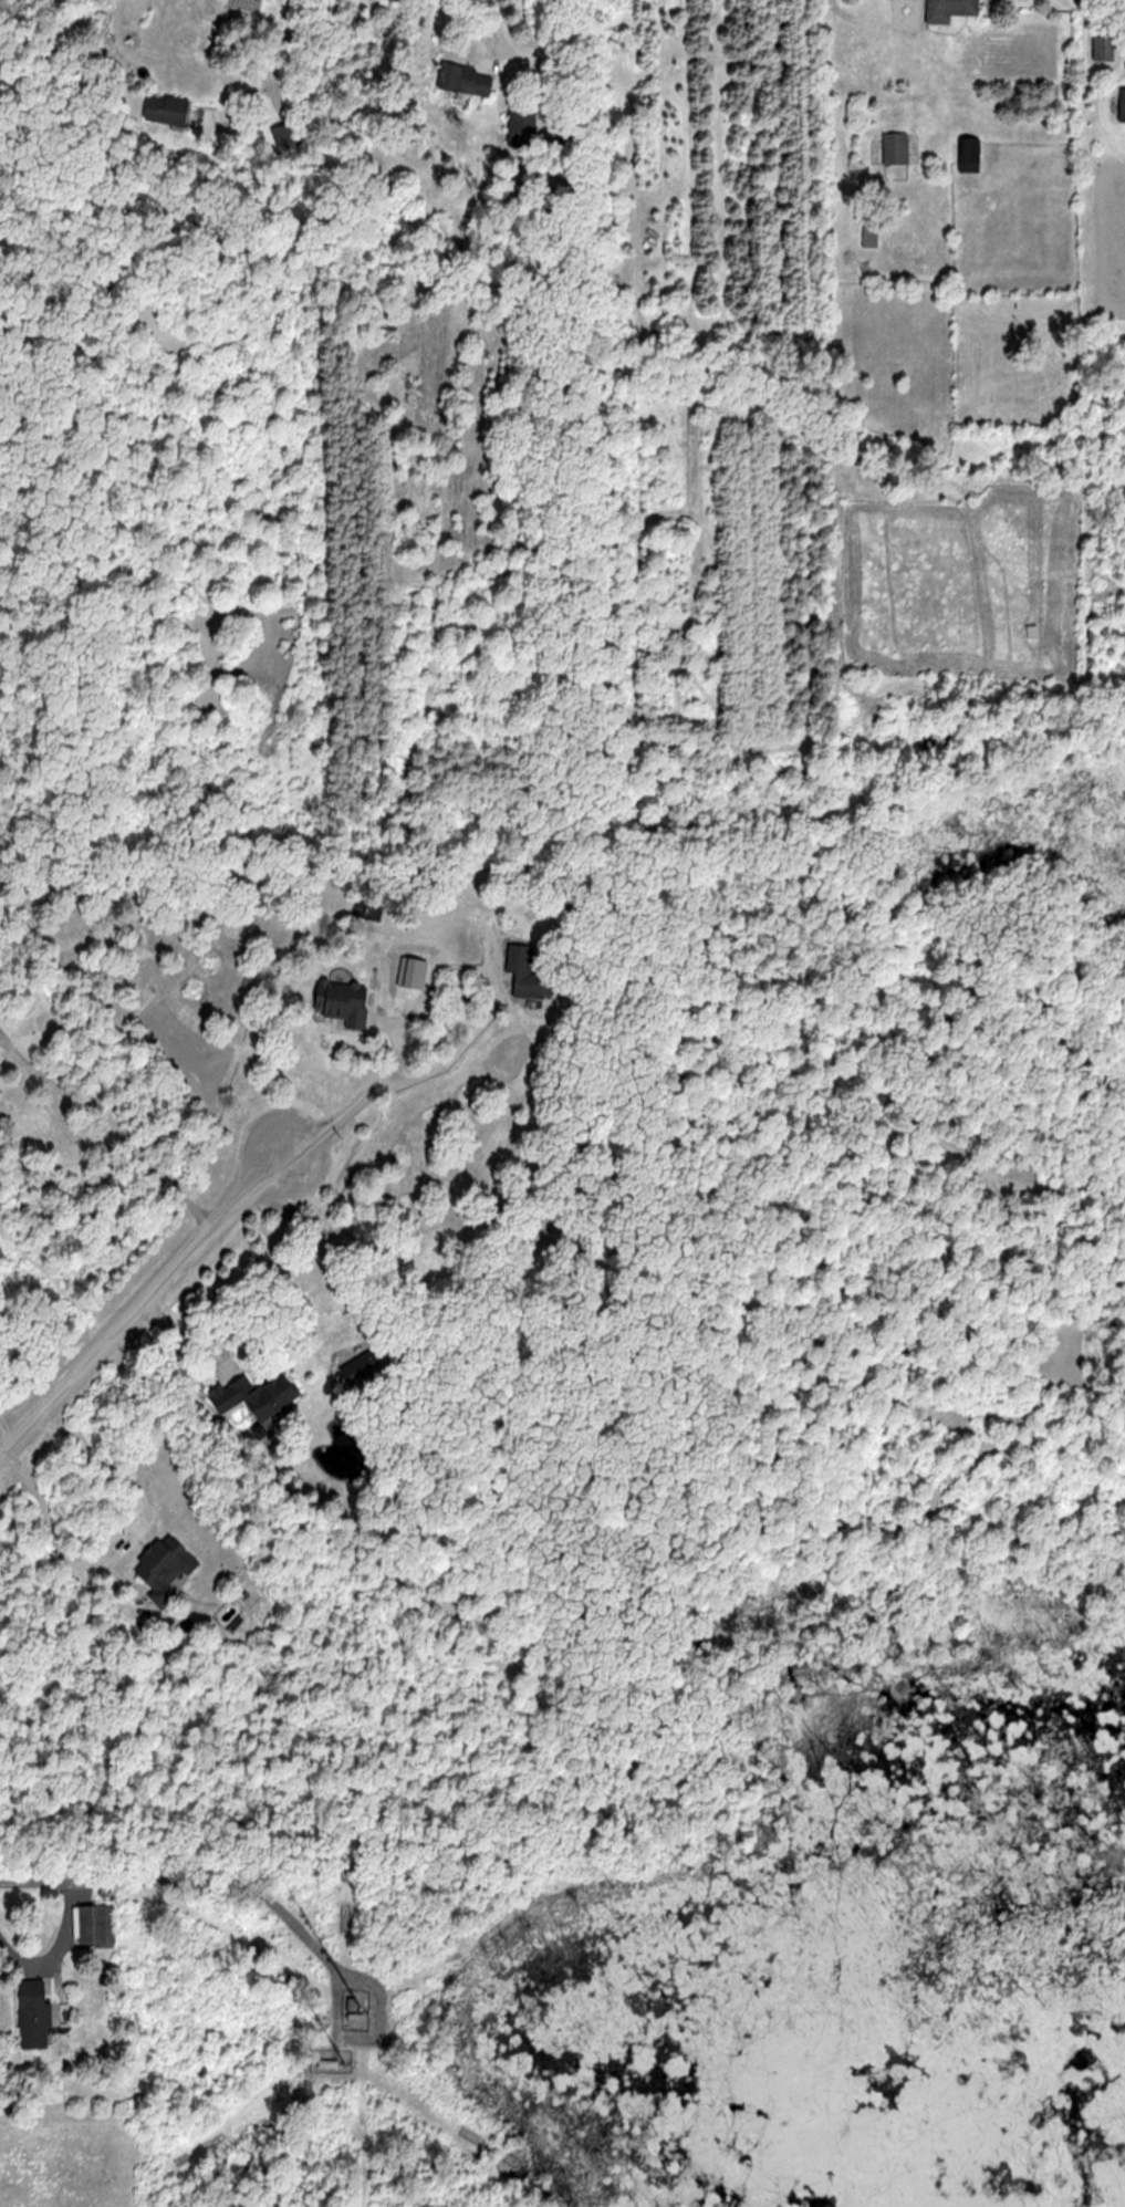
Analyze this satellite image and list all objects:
building: (948, 10)
road: (497, 23)
building: (1104, 46)
road: (271, 61)
building: (465, 79)
building: (1122, 105)
building: (165, 110)
building: (521, 126)
building: (283, 140)
building: (894, 148)
building: (968, 154)
building: (868, 229)
building: (524, 971)
building: (342, 1000)
road: (355, 1100)
road: (111, 1124)
road: (143, 1298)
building: (360, 1366)
building: (254, 1395)
road: (6, 1426)
road: (123, 1540)
building: (163, 1566)
road: (188, 1878)
building: (93, 1925)
road: (54, 1946)
building: (33, 2015)
building: (327, 2063)

